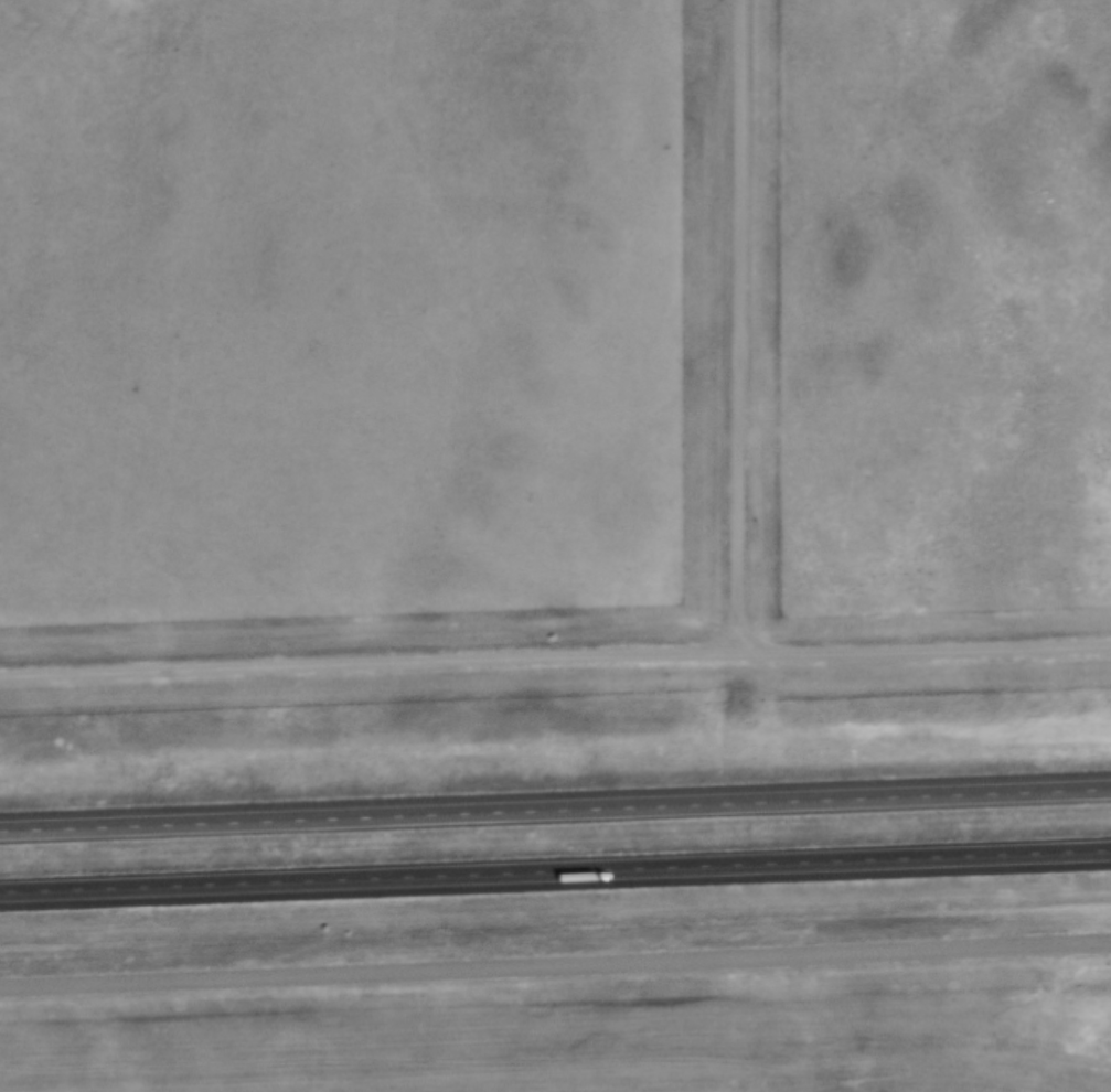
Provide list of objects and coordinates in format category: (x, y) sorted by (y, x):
road: (743, 328)
road: (923, 653)
road: (367, 665)
road: (555, 812)
road: (555, 874)
road: (555, 970)

